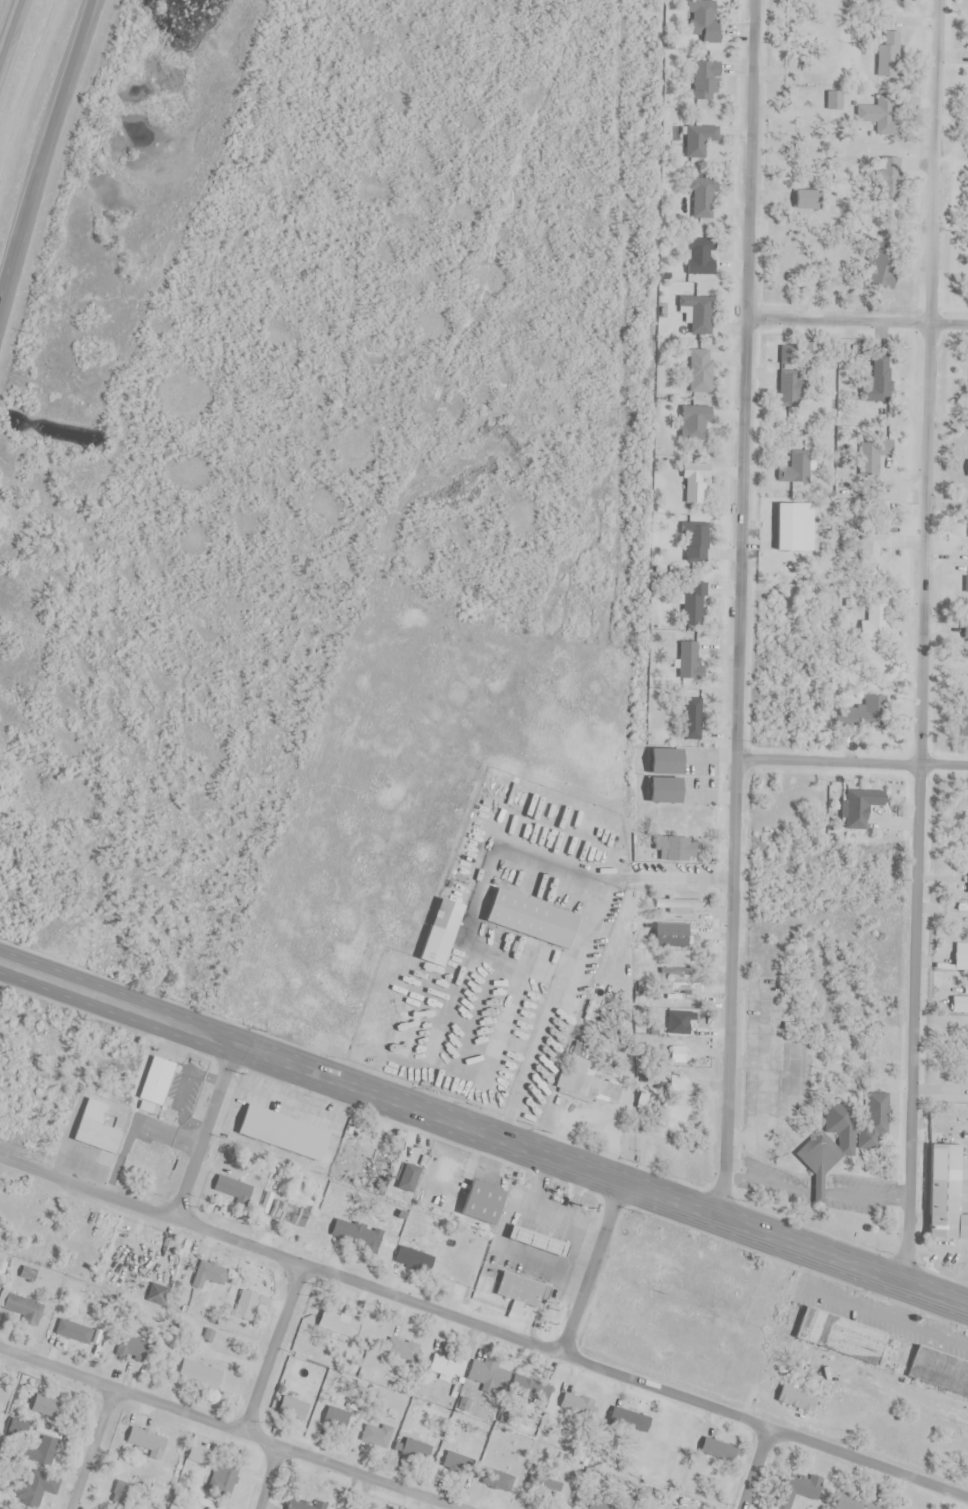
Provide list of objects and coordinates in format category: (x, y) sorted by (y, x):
building: (703, 21)
road: (10, 29)
building: (889, 56)
building: (706, 81)
building: (835, 101)
building: (879, 115)
building: (700, 141)
road: (44, 158)
building: (884, 178)
building: (703, 199)
building: (808, 201)
building: (701, 257)
building: (880, 267)
building: (698, 314)
road: (856, 322)
building: (700, 371)
building: (792, 388)
building: (872, 392)
building: (695, 423)
building: (871, 455)
building: (798, 468)
building: (695, 484)
building: (695, 542)
building: (875, 549)
road: (739, 599)
building: (693, 605)
building: (875, 623)
building: (965, 632)
road: (921, 633)
building: (690, 662)
building: (967, 700)
building: (856, 718)
building: (693, 720)
building: (666, 762)
road: (852, 762)
building: (665, 791)
building: (860, 809)
building: (671, 849)
building: (680, 906)
building: (531, 920)
building: (441, 933)
building: (674, 938)
road: (578, 947)
building: (961, 957)
building: (681, 991)
building: (960, 1005)
building: (404, 1038)
building: (678, 1055)
building: (587, 1078)
building: (156, 1081)
building: (674, 1103)
road: (484, 1118)
road: (202, 1123)
building: (284, 1132)
building: (846, 1135)
building: (97, 1136)
road: (484, 1138)
building: (346, 1150)
building: (412, 1183)
building: (233, 1189)
building: (946, 1194)
building: (482, 1203)
building: (289, 1214)
building: (355, 1235)
building: (538, 1241)
building: (409, 1259)
road: (593, 1259)
building: (208, 1277)
building: (522, 1292)
building: (157, 1295)
building: (18, 1305)
building: (247, 1306)
building: (338, 1325)
road: (484, 1326)
building: (74, 1332)
building: (841, 1336)
building: (131, 1347)
road: (269, 1349)
building: (404, 1351)
building: (441, 1367)
building: (939, 1372)
building: (200, 1375)
building: (486, 1376)
building: (534, 1391)
building: (5, 1399)
building: (797, 1400)
building: (577, 1407)
building: (48, 1408)
building: (293, 1409)
building: (335, 1420)
building: (625, 1423)
building: (20, 1429)
road: (225, 1429)
building: (377, 1436)
building: (148, 1443)
road: (89, 1448)
building: (716, 1448)
building: (416, 1452)
building: (37, 1456)
road: (752, 1468)
building: (224, 1472)
road: (265, 1478)
building: (499, 1480)
building: (544, 1483)
building: (29, 1484)
building: (790, 1490)
building: (305, 1505)
building: (601, 1506)
building: (678, 1507)

